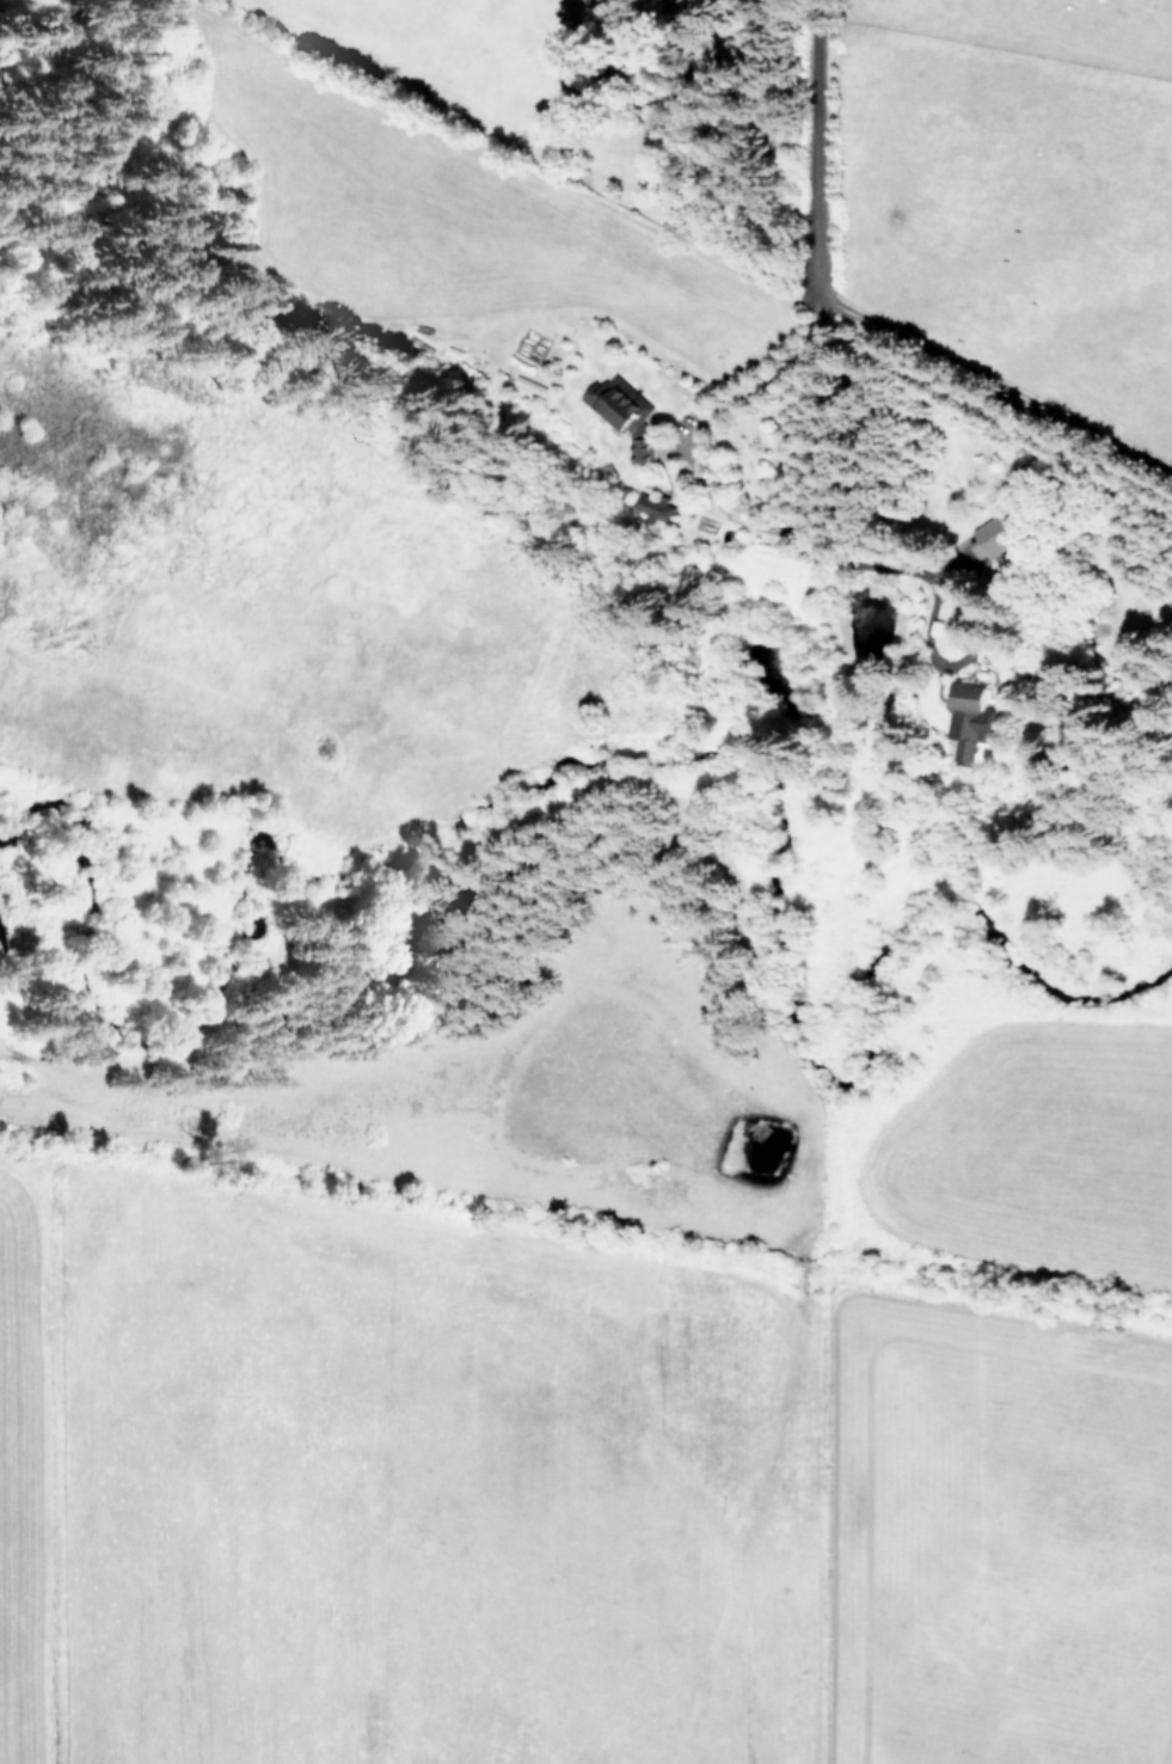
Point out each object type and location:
road: (822, 314)
road: (996, 382)
building: (610, 403)
road: (688, 443)
building: (639, 447)
crop: (589, 1411)

